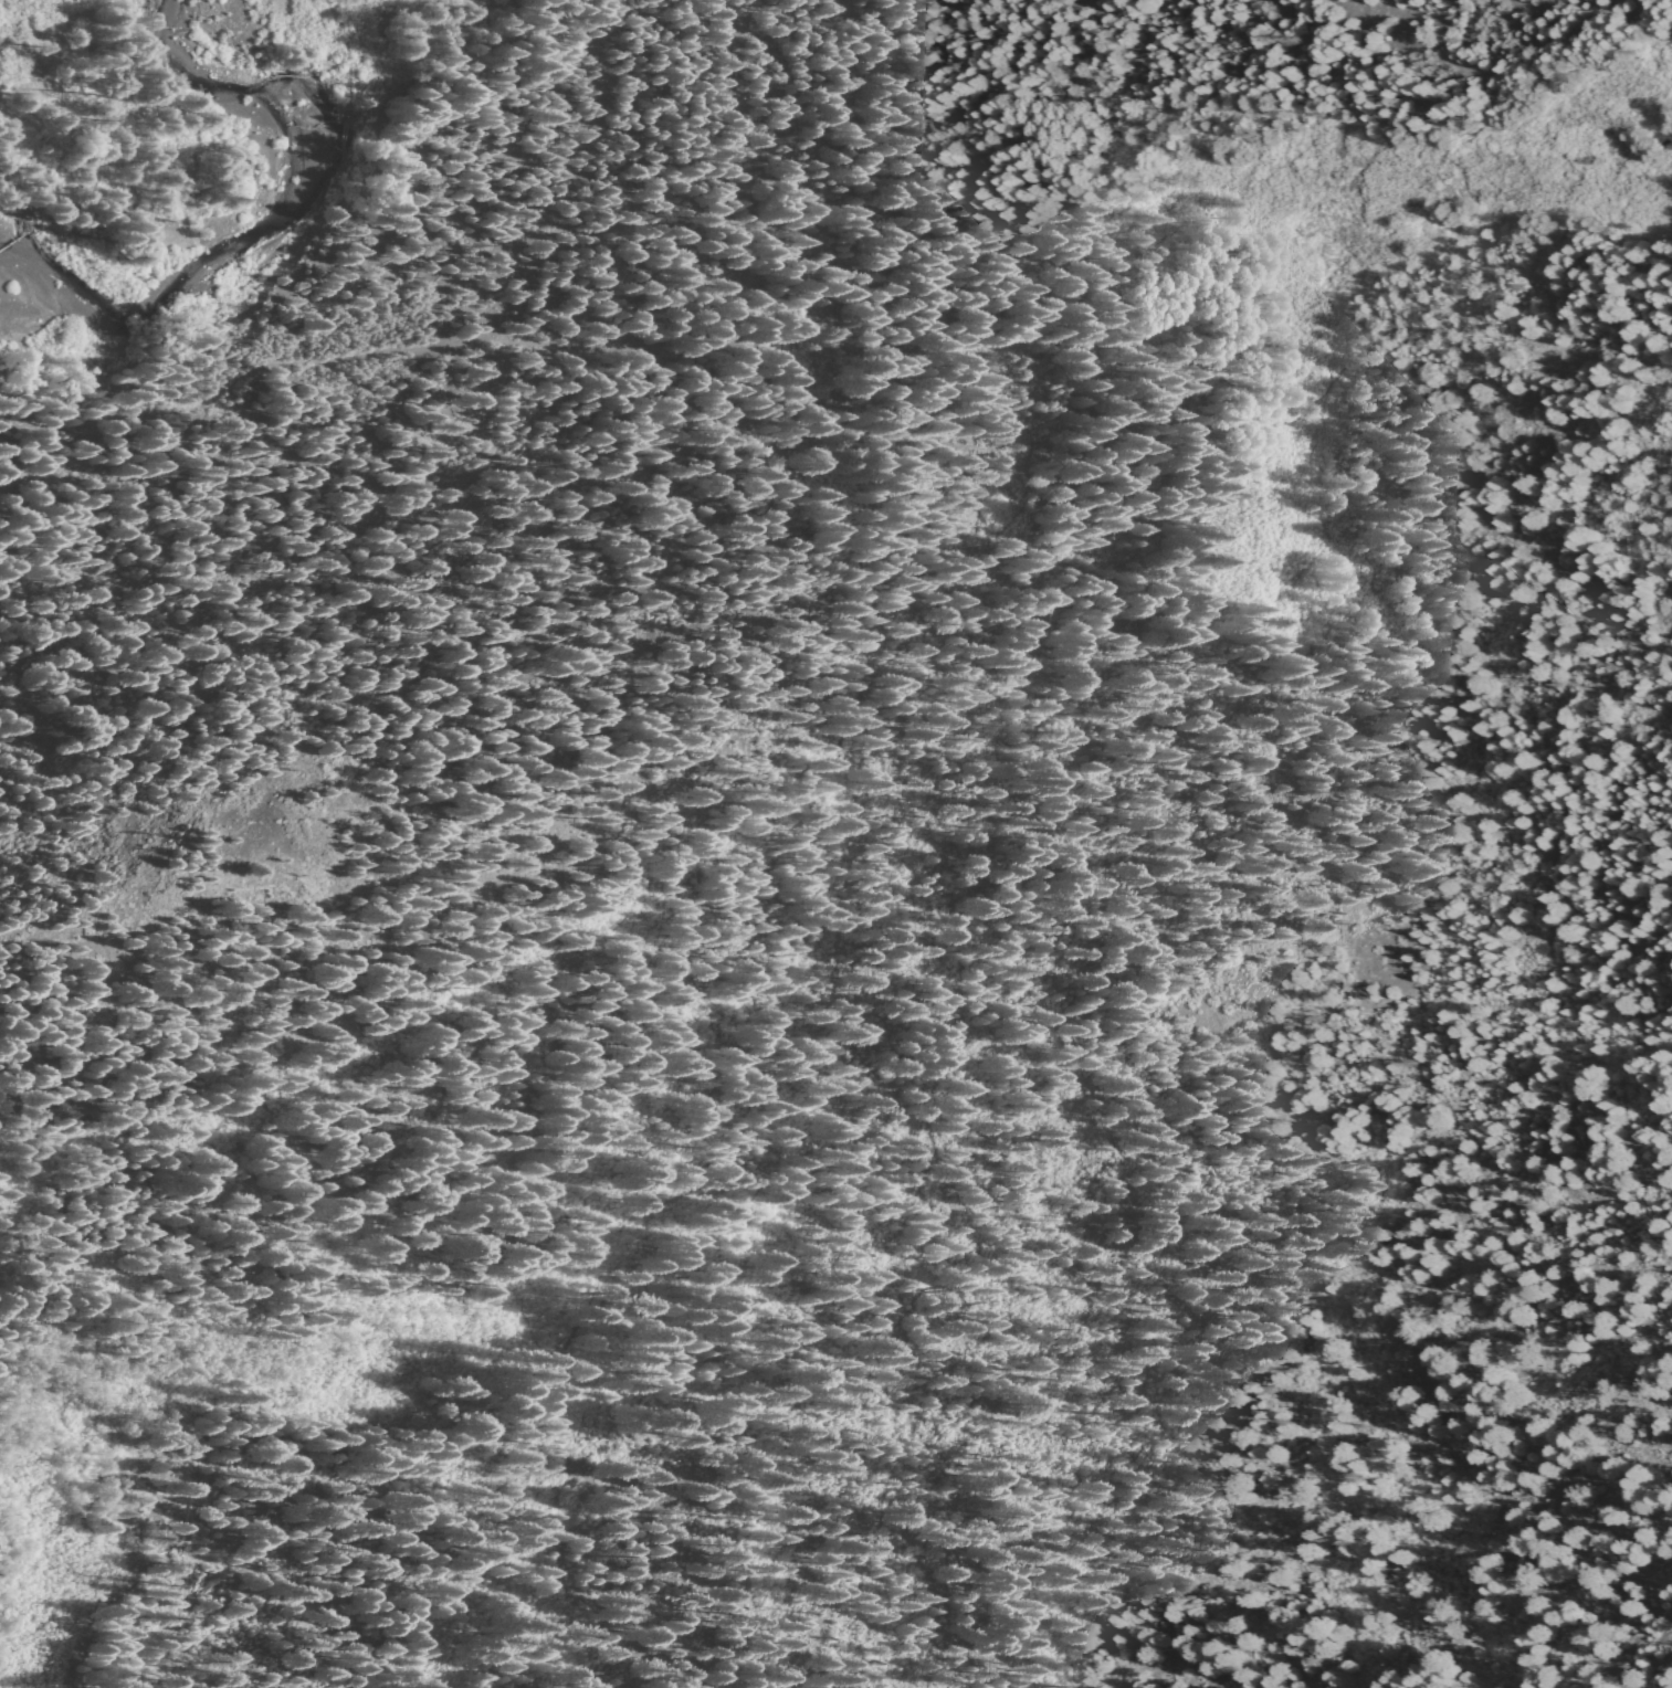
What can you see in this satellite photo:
road: (566, 342)
road: (1016, 433)

